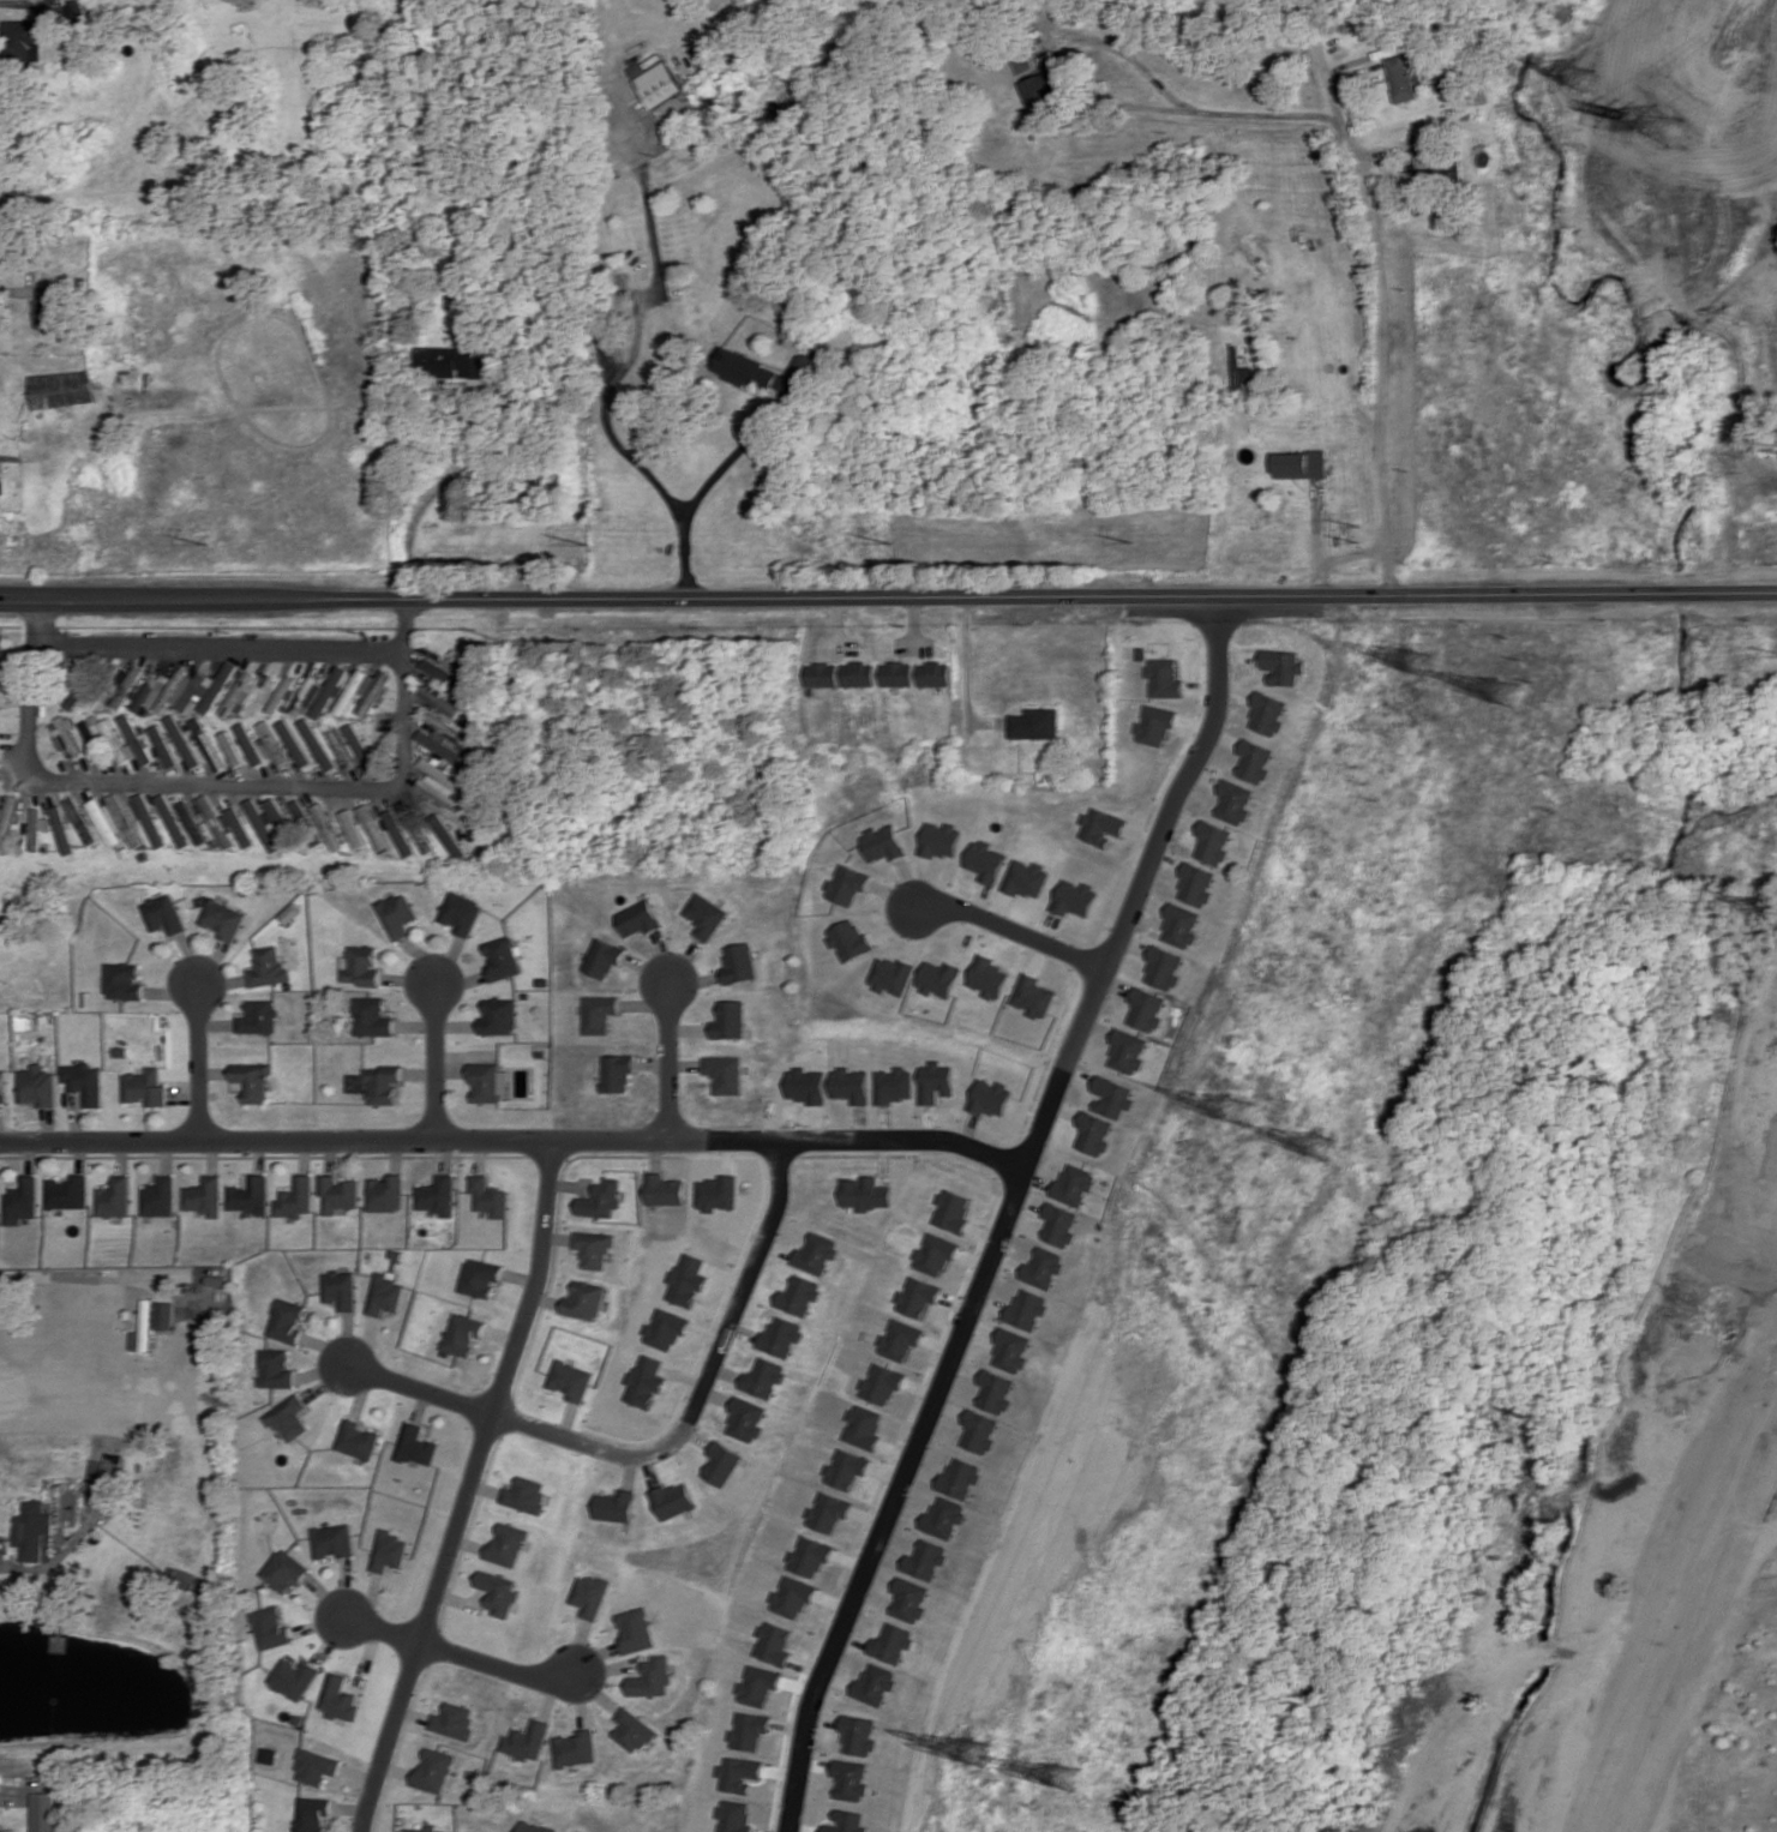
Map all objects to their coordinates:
road: (5, 2)
building: (77, 8)
building: (20, 40)
road: (1323, 59)
power tower: (1589, 73)
building: (1400, 78)
building: (656, 82)
building: (1040, 85)
power tower: (1674, 128)
building: (1434, 167)
road: (1370, 221)
road: (12, 289)
building: (49, 306)
building: (449, 361)
building: (804, 362)
road: (620, 364)
building: (1241, 374)
building: (62, 389)
road: (743, 445)
building: (1299, 464)
power tower: (1355, 534)
power tower: (1133, 540)
power tower: (200, 542)
power tower: (586, 542)
power tower: (889, 543)
road: (888, 599)
power tower: (1519, 659)
power tower: (1416, 661)
road: (967, 666)
building: (1281, 666)
building: (1, 669)
building: (820, 673)
building: (857, 673)
building: (896, 673)
building: (933, 673)
building: (1163, 677)
building: (126, 685)
building: (217, 687)
building: (354, 689)
power tower: (1493, 690)
building: (182, 691)
building: (330, 691)
building: (373, 692)
building: (236, 693)
building: (281, 693)
building: (306, 696)
building: (100, 699)
building: (438, 701)
building: (1267, 714)
building: (1035, 723)
building: (1153, 725)
building: (90, 733)
building: (68, 735)
building: (134, 738)
building: (115, 739)
building: (182, 740)
building: (270, 741)
building: (248, 743)
building: (294, 743)
building: (208, 744)
building: (338, 744)
building: (164, 745)
building: (439, 745)
building: (359, 746)
building: (232, 749)
building: (1254, 761)
building: (443, 781)
power tower: (1371, 785)
road: (388, 791)
building: (1233, 803)
building: (277, 816)
building: (106, 819)
building: (150, 819)
building: (173, 819)
building: (82, 821)
building: (215, 821)
building: (7, 822)
building: (191, 822)
building: (262, 824)
building: (326, 825)
building: (1099, 825)
building: (240, 827)
building: (372, 827)
building: (353, 828)
building: (36, 829)
building: (62, 829)
building: (419, 833)
building: (448, 835)
building: (941, 840)
building: (1212, 841)
building: (882, 843)
building: (985, 860)
road: (1139, 873)
building: (1026, 878)
building: (845, 884)
building: (1195, 884)
building: (1073, 897)
power tower: (1772, 902)
building: (461, 911)
building: (163, 912)
building: (289, 913)
building: (397, 914)
building: (707, 914)
building: (222, 918)
building: (638, 918)
building: (1178, 925)
building: (847, 938)
road: (665, 955)
road: (420, 956)
building: (602, 956)
road: (187, 957)
building: (500, 957)
road: (448, 959)
road: (686, 960)
road: (208, 961)
building: (739, 962)
building: (265, 966)
building: (360, 966)
road: (648, 967)
building: (1160, 967)
building: (890, 975)
building: (989, 977)
building: (937, 978)
building: (121, 979)
road: (407, 979)
road: (457, 979)
road: (697, 979)
road: (217, 981)
road: (168, 991)
building: (523, 995)
building: (1033, 995)
road: (646, 1003)
building: (1145, 1008)
building: (599, 1013)
building: (254, 1015)
building: (497, 1015)
building: (370, 1016)
building: (731, 1019)
road: (211, 1022)
road: (413, 1025)
road: (452, 1025)
road: (690, 1028)
building: (118, 1050)
building: (1127, 1051)
road: (432, 1058)
road: (671, 1059)
road: (193, 1061)
road: (655, 1061)
road: (686, 1064)
road: (209, 1071)
building: (618, 1071)
road: (418, 1073)
building: (726, 1073)
building: (248, 1079)
building: (82, 1080)
building: (482, 1081)
building: (380, 1082)
building: (932, 1082)
building: (1, 1085)
building: (35, 1085)
building: (140, 1085)
building: (803, 1085)
building: (846, 1085)
building: (889, 1085)
building: (274, 1093)
road: (179, 1095)
building: (1112, 1097)
building: (989, 1098)
power tower: (1241, 1107)
road: (73, 1116)
road: (44, 1123)
building: (1094, 1133)
road: (511, 1139)
power tower: (1325, 1152)
road: (395, 1154)
road: (444, 1154)
road: (478, 1154)
road: (658, 1154)
road: (76, 1155)
road: (116, 1155)
road: (161, 1155)
road: (208, 1155)
road: (254, 1155)
road: (263, 1155)
road: (301, 1155)
road: (328, 1155)
road: (26, 1157)
building: (1074, 1183)
road: (569, 1184)
building: (667, 1189)
building: (64, 1191)
building: (386, 1191)
building: (337, 1193)
building: (716, 1193)
building: (860, 1193)
building: (155, 1195)
building: (199, 1195)
building: (246, 1195)
building: (438, 1195)
building: (488, 1195)
building: (109, 1197)
building: (293, 1197)
building: (604, 1197)
building: (19, 1199)
building: (948, 1209)
road: (558, 1219)
building: (1057, 1225)
road: (557, 1237)
building: (596, 1247)
building: (398, 1253)
building: (812, 1253)
building: (930, 1254)
building: (1040, 1267)
building: (481, 1275)
road: (521, 1277)
road: (82, 1278)
building: (688, 1279)
building: (340, 1287)
building: (385, 1293)
building: (796, 1296)
building: (913, 1297)
building: (587, 1298)
road: (547, 1299)
building: (1023, 1309)
building: (164, 1315)
building: (286, 1320)
building: (144, 1328)
building: (666, 1329)
building: (464, 1333)
road: (504, 1334)
building: (779, 1335)
road: (344, 1337)
building: (895, 1339)
road: (366, 1343)
road: (325, 1346)
building: (1007, 1350)
building: (274, 1367)
road: (320, 1370)
building: (762, 1377)
building: (574, 1378)
road: (706, 1378)
road: (328, 1381)
building: (647, 1381)
building: (877, 1384)
road: (421, 1388)
road: (921, 1392)
building: (991, 1392)
road: (360, 1393)
road: (422, 1405)
power tower: (1533, 1413)
building: (287, 1414)
road: (572, 1418)
building: (745, 1419)
building: (860, 1425)
building: (974, 1431)
road: (696, 1436)
building: (358, 1438)
building: (418, 1443)
building: (724, 1462)
building: (844, 1468)
building: (106, 1470)
road: (631, 1470)
road: (653, 1470)
building: (956, 1477)
road: (472, 1488)
road: (488, 1488)
building: (529, 1495)
building: (676, 1498)
building: (620, 1504)
building: (826, 1512)
building: (941, 1516)
building: (32, 1528)
road: (472, 1531)
road: (0, 1539)
building: (332, 1540)
road: (470, 1542)
building: (510, 1543)
building: (390, 1551)
building: (808, 1556)
building: (921, 1560)
building: (284, 1569)
road: (346, 1587)
building: (502, 1591)
building: (595, 1593)
road: (326, 1596)
building: (791, 1597)
road: (373, 1598)
road: (461, 1599)
building: (906, 1599)
road: (320, 1623)
building: (271, 1628)
building: (638, 1629)
road: (332, 1639)
building: (773, 1642)
building: (888, 1642)
road: (582, 1645)
road: (461, 1653)
road: (598, 1654)
road: (370, 1658)
road: (610, 1666)
building: (654, 1677)
building: (296, 1678)
building: (872, 1683)
building: (757, 1684)
road: (553, 1696)
road: (583, 1698)
building: (342, 1699)
road: (416, 1712)
building: (457, 1720)
building: (635, 1730)
building: (749, 1730)
building: (856, 1735)
building: (529, 1740)
building: (577, 1748)
power tower: (978, 1752)
building: (271, 1755)
building: (318, 1766)
building: (437, 1770)
building: (739, 1773)
building: (848, 1779)
power tower: (1069, 1780)
road: (353, 1806)
building: (44, 1812)
building: (314, 1814)
building: (734, 1815)
building: (845, 1821)
building: (535, 1827)
building: (0, 1828)
building: (426, 1830)

